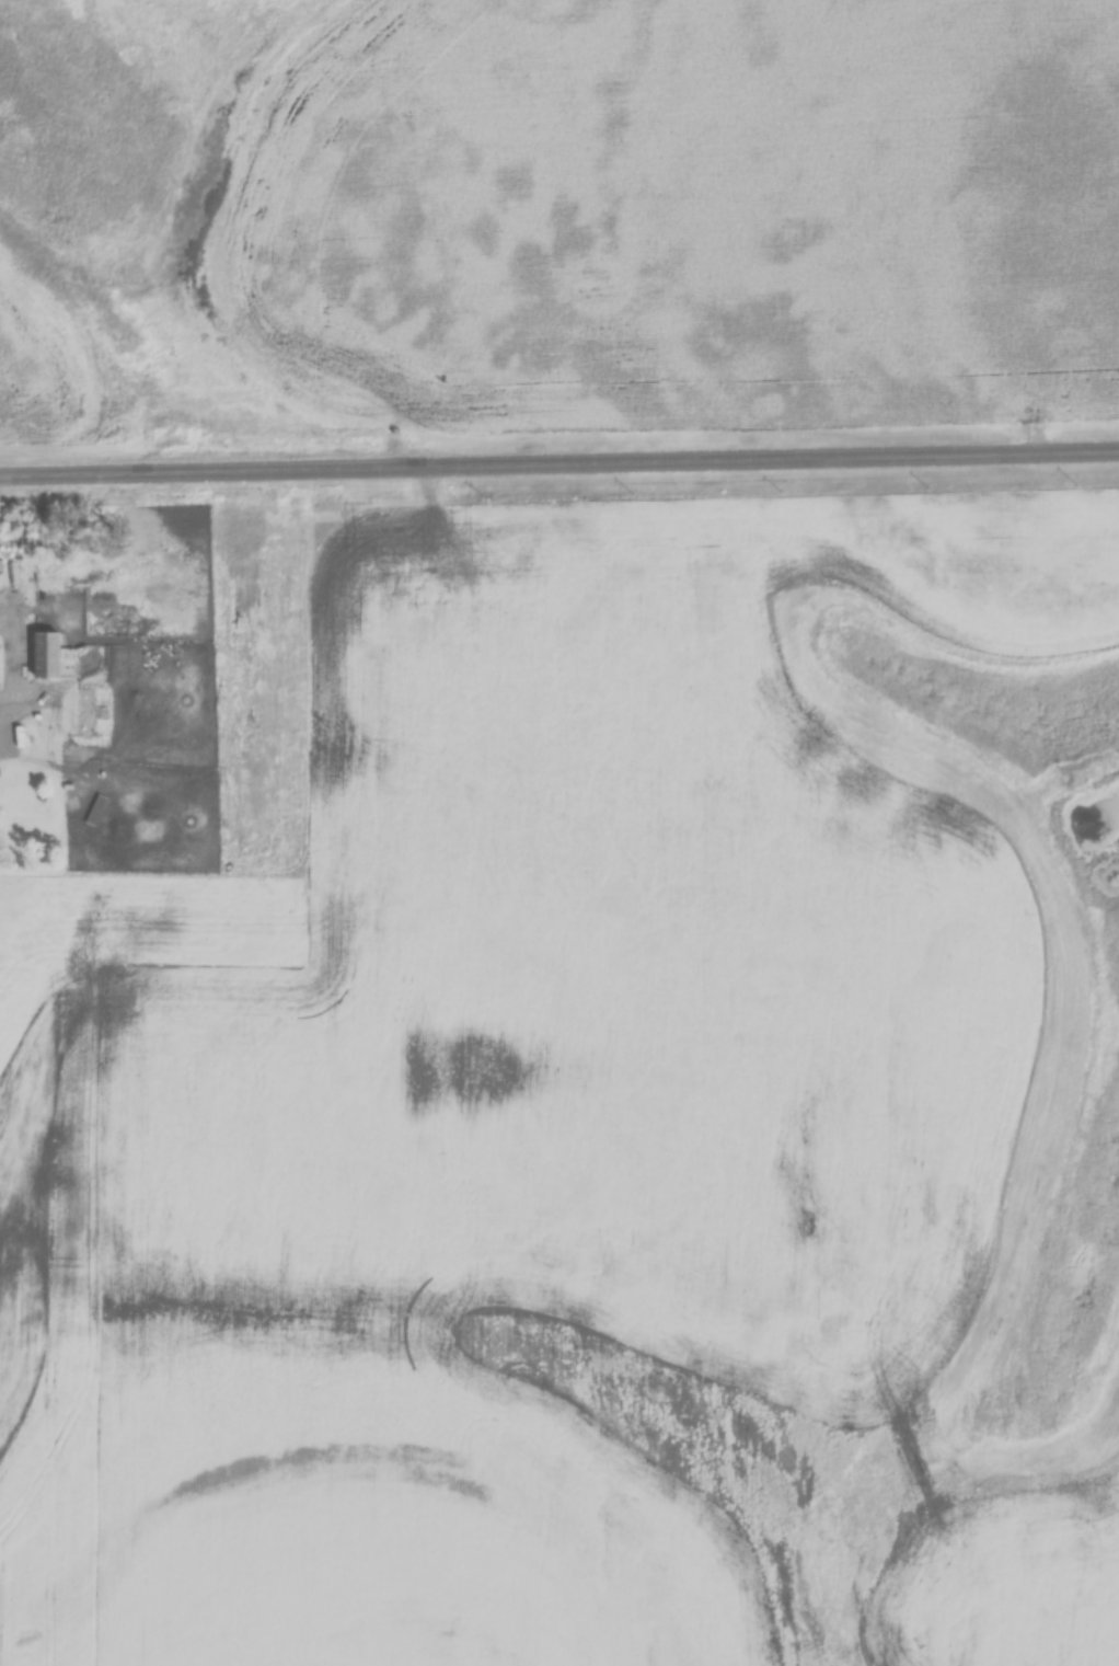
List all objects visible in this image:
road: (559, 459)
road: (12, 671)

